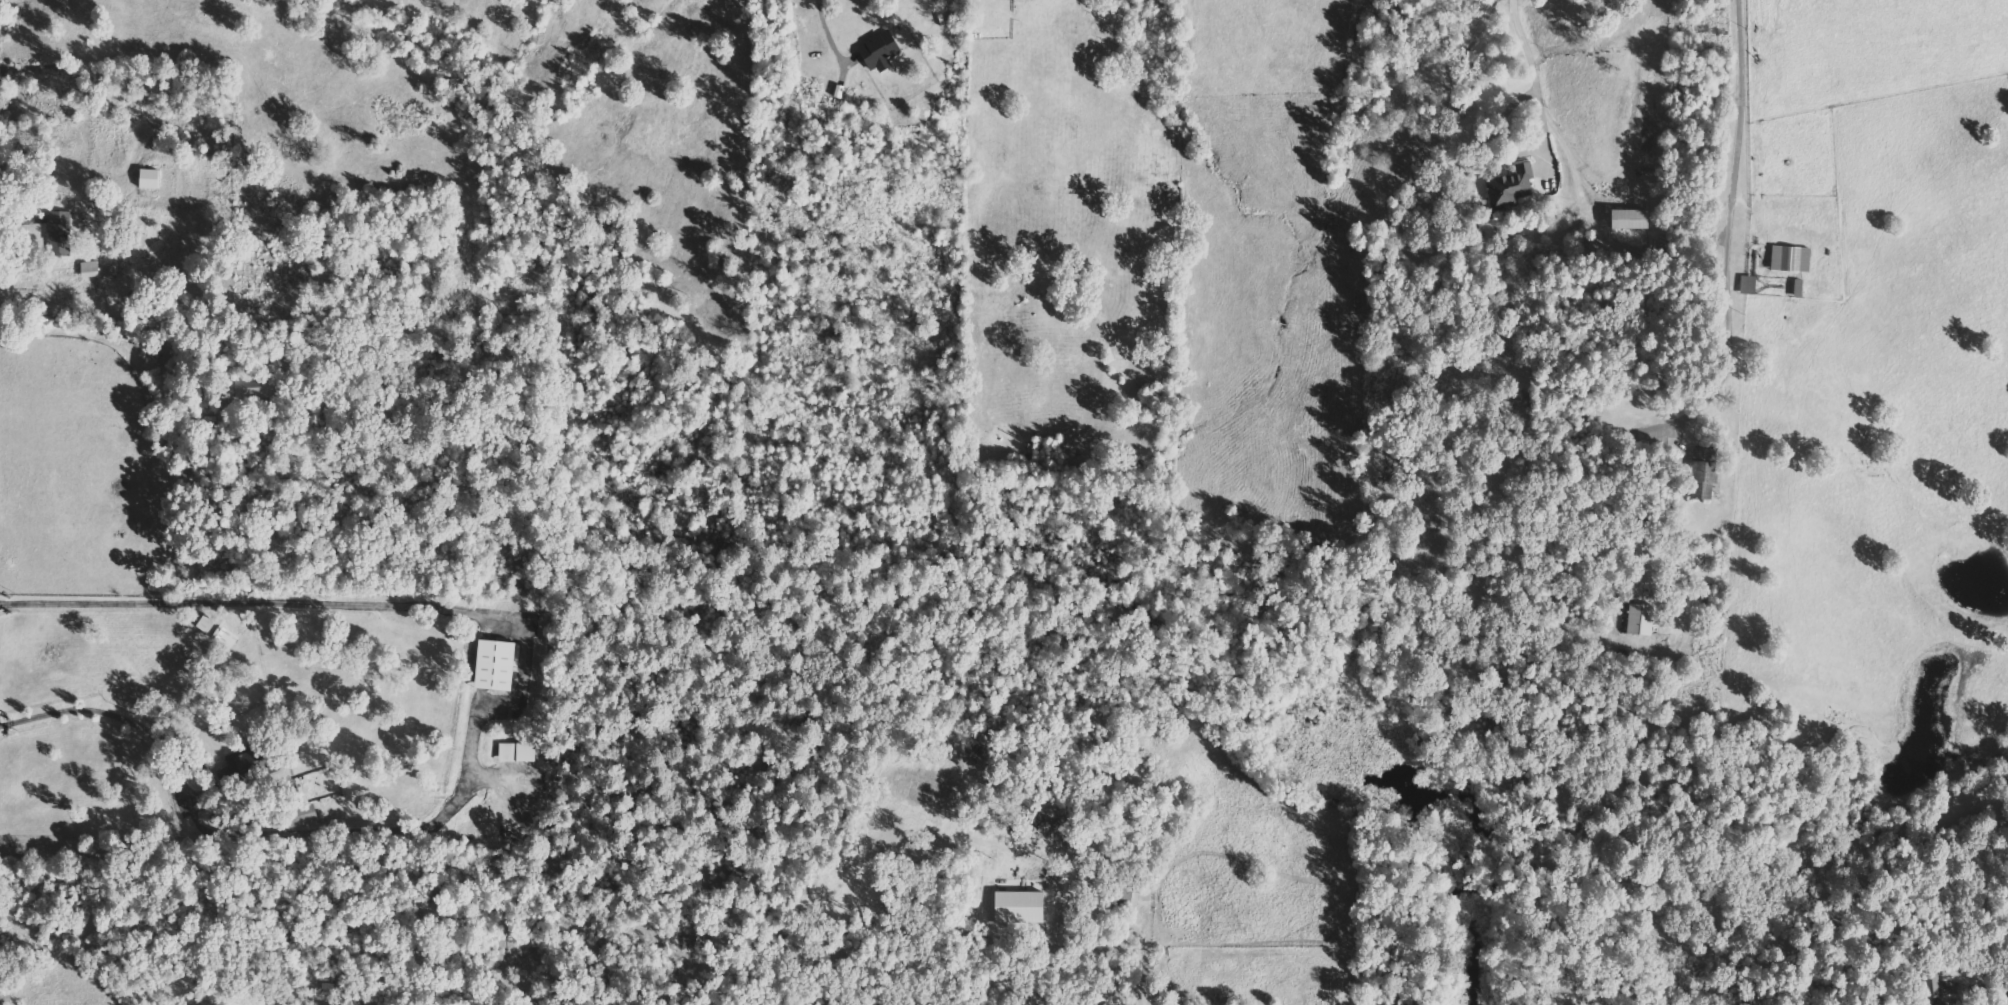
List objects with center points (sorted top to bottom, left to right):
road: (823, 32)
building: (875, 51)
building: (146, 179)
building: (1509, 187)
building: (1624, 219)
building: (57, 230)
building: (1788, 259)
building: (87, 269)
building: (107, 270)
building: (1746, 285)
building: (248, 389)
building: (1699, 474)
building: (1637, 620)
building: (214, 633)
building: (492, 665)
building: (427, 683)
building: (513, 753)
building: (303, 814)
building: (1014, 908)
building: (1939, 1003)

